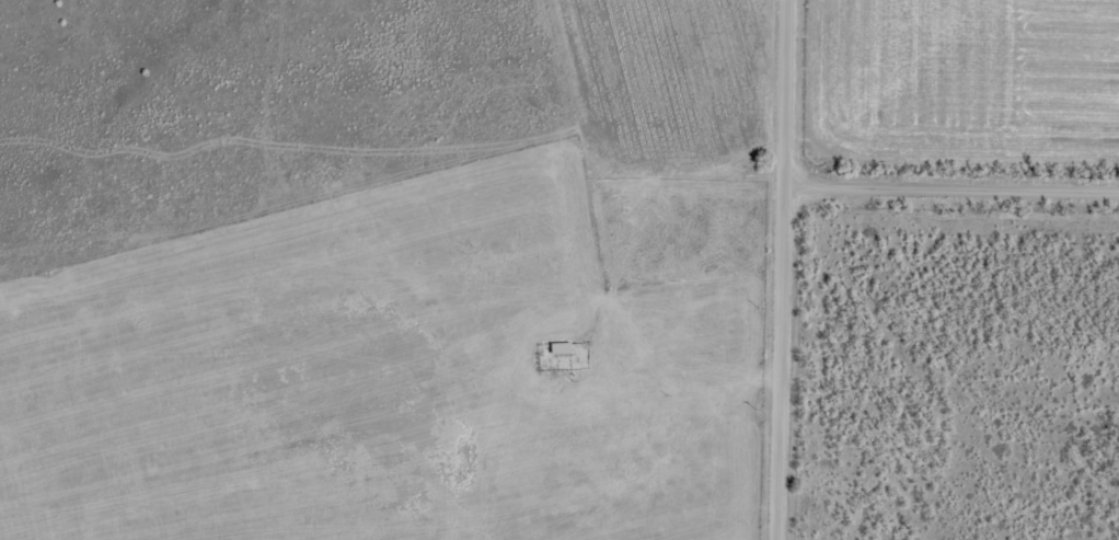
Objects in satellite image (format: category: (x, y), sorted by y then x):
road: (953, 176)
road: (783, 269)

